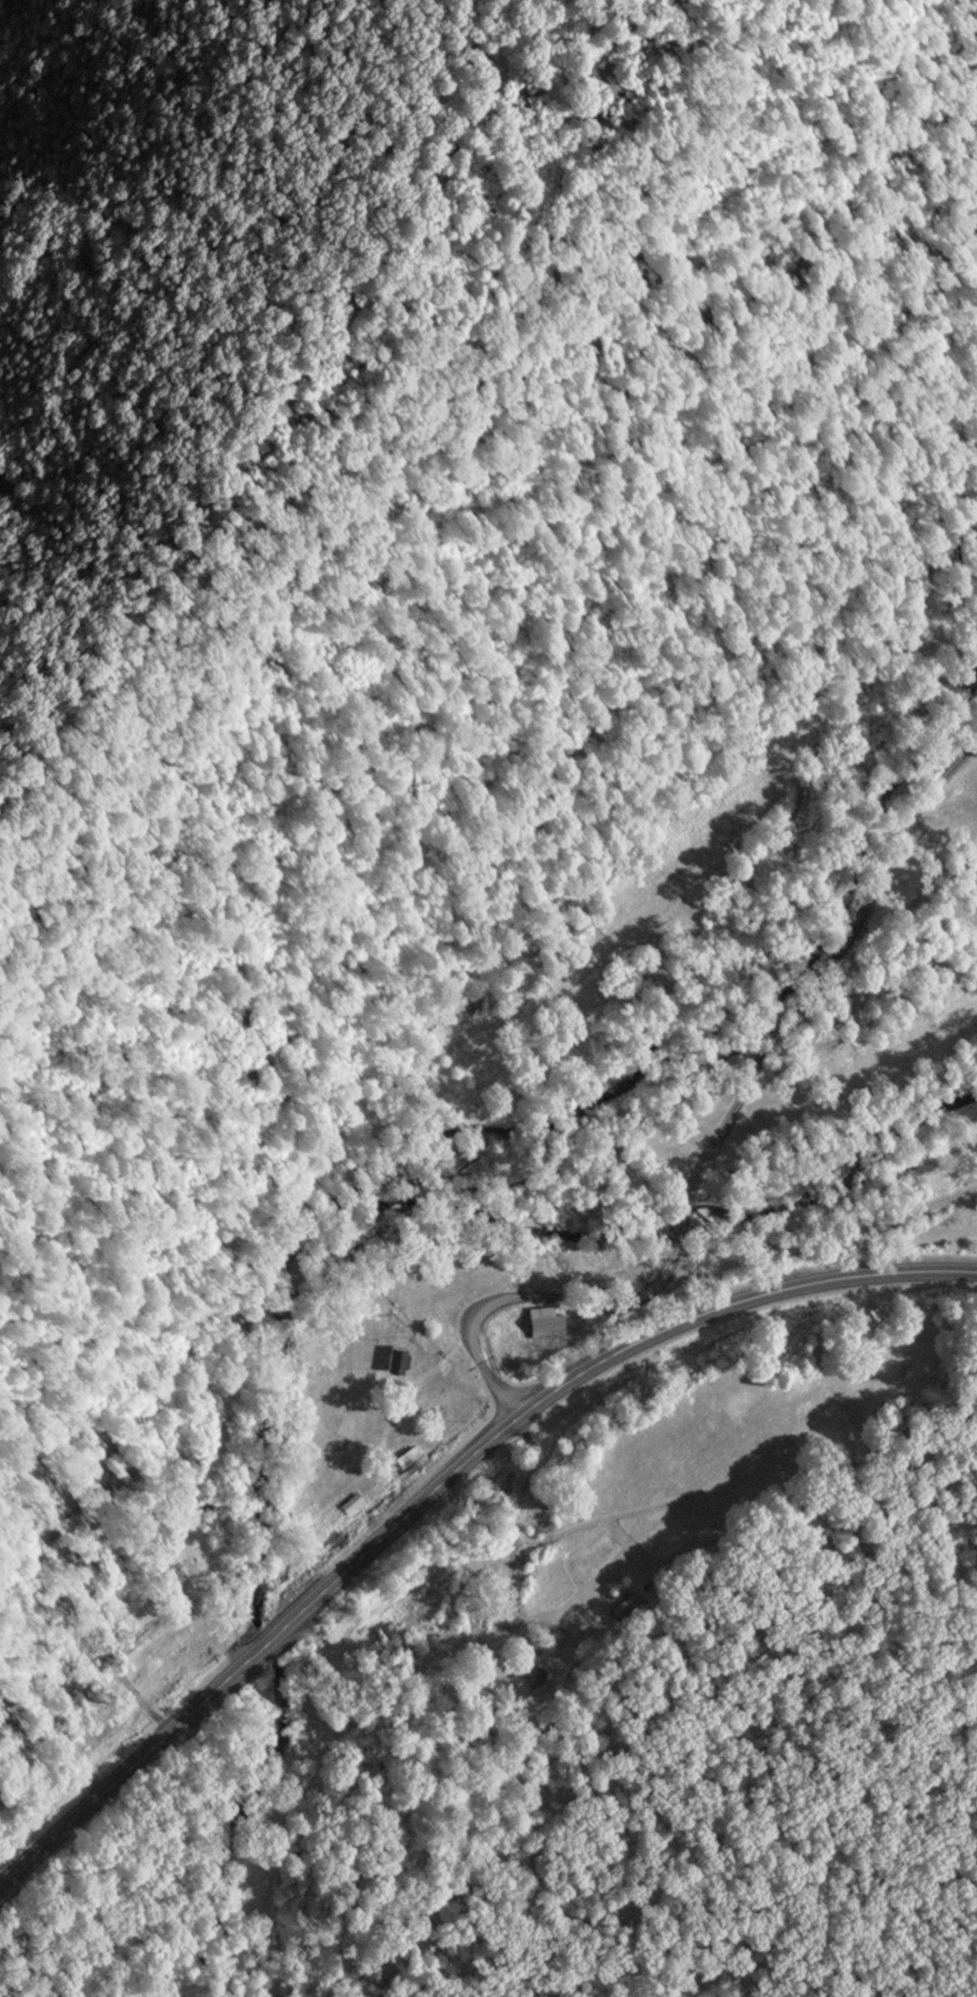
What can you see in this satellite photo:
crop: (959, 877)
road: (715, 1136)
building: (547, 1320)
building: (397, 1356)
building: (409, 1456)
road: (439, 1485)
building: (352, 1501)
building: (622, 1605)
building: (532, 1673)
building: (365, 1721)

